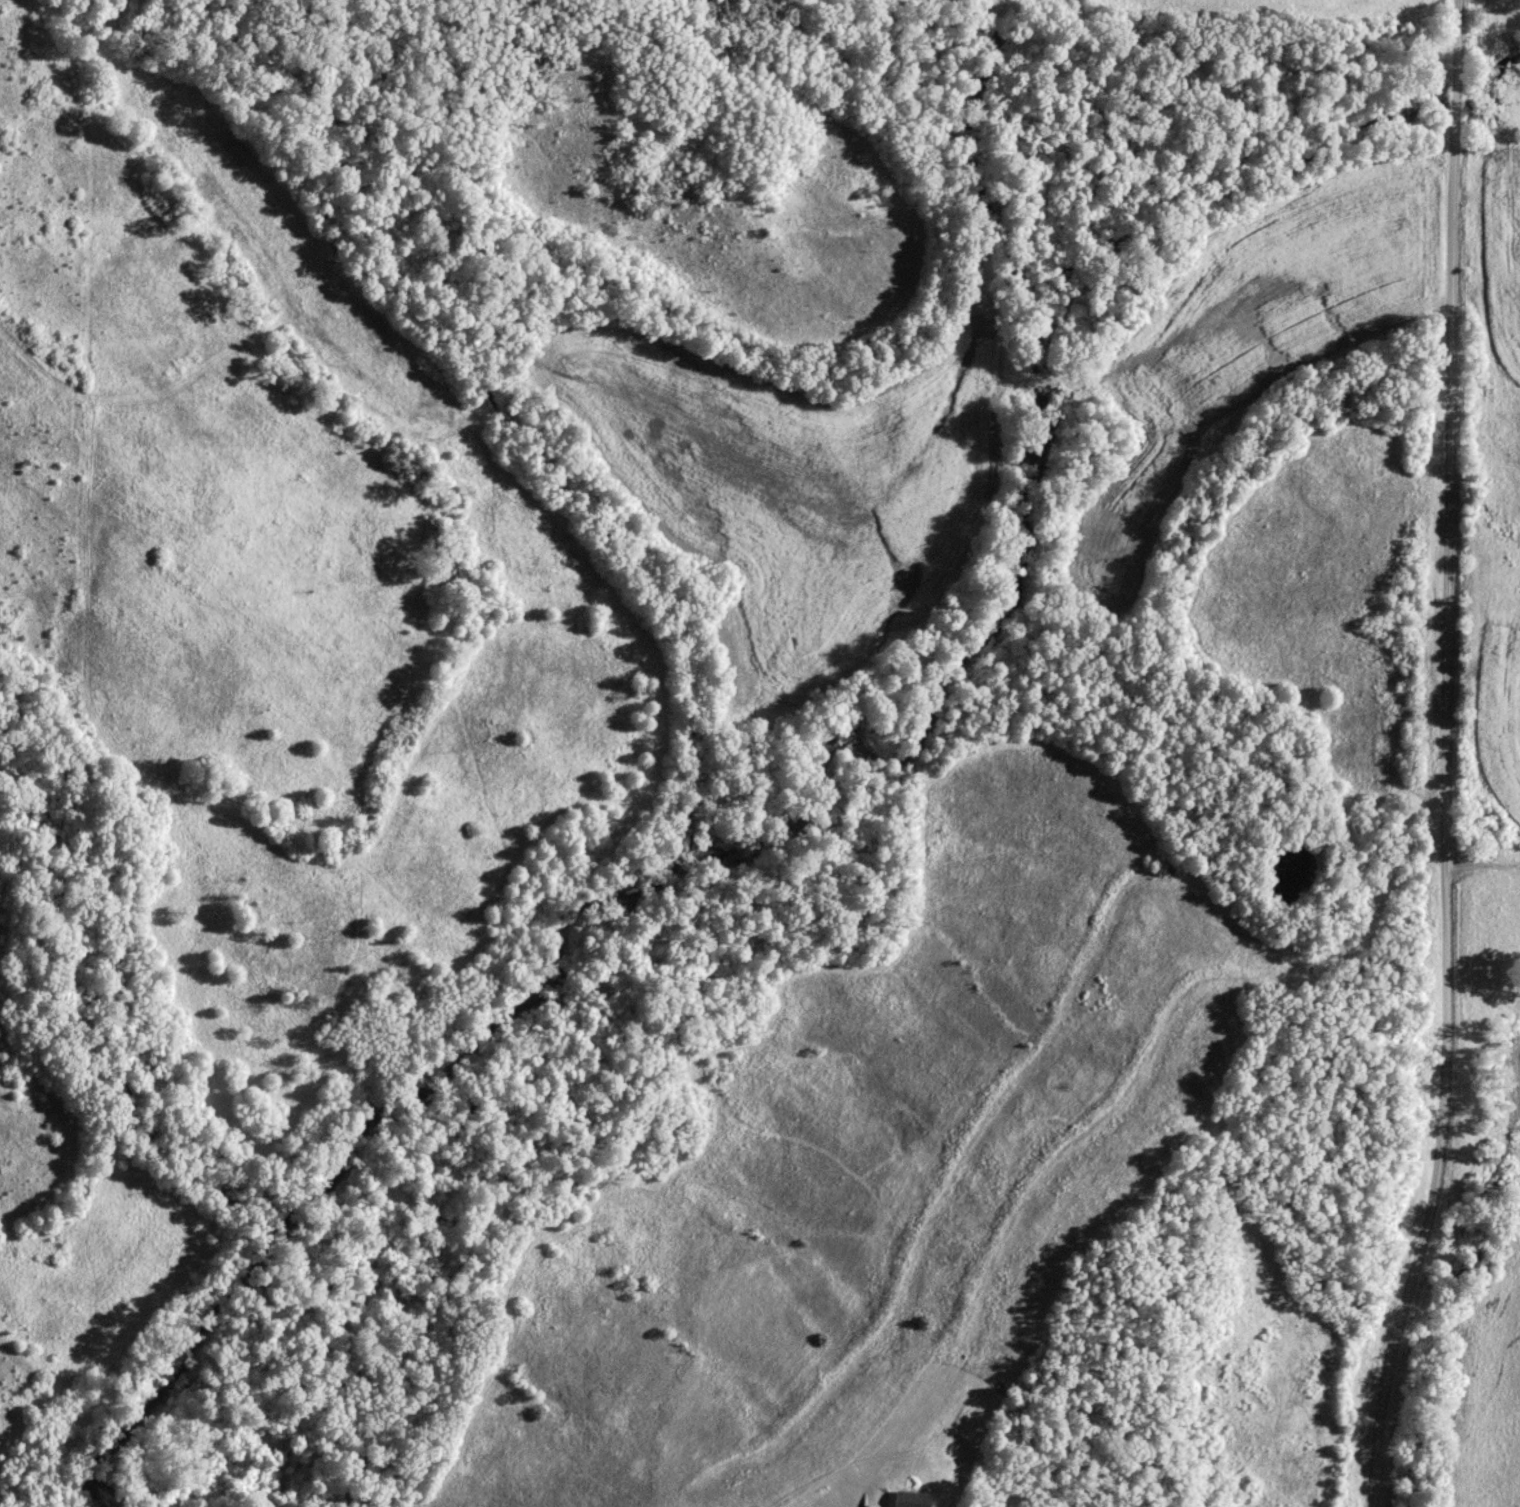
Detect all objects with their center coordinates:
road: (1447, 758)
building: (909, 1499)

